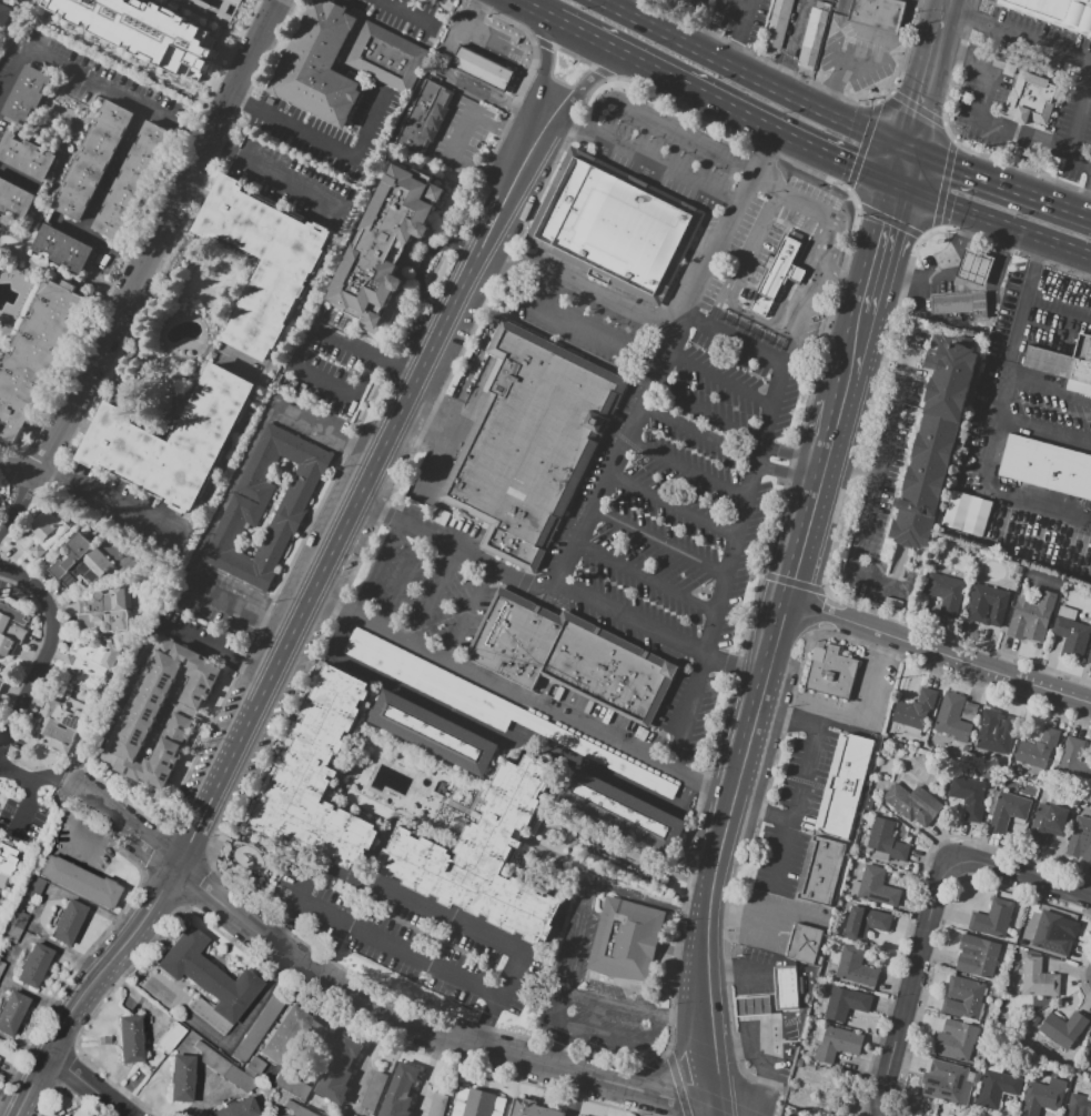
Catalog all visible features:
road: (938, 2)
road: (946, 2)
road: (393, 4)
road: (403, 4)
parking lot: (694, 6)
road: (745, 6)
road: (628, 7)
road: (538, 10)
road: (492, 12)
building: (1053, 13)
building: (3, 14)
building: (876, 16)
road: (415, 17)
building: (780, 23)
road: (737, 28)
road: (842, 29)
building: (143, 30)
road: (1018, 33)
building: (815, 38)
parking lot: (483, 40)
road: (789, 44)
parking lot: (862, 49)
road: (267, 50)
road: (546, 52)
road: (866, 53)
building: (384, 56)
road: (901, 62)
building: (319, 66)
building: (482, 69)
road: (244, 71)
road: (597, 73)
road: (751, 78)
road: (927, 78)
road: (456, 79)
road: (93, 82)
road: (988, 90)
building: (27, 93)
building: (1033, 100)
road: (726, 105)
parking lot: (996, 117)
building: (425, 118)
parking lot: (1073, 122)
road: (673, 125)
road: (1077, 129)
road: (455, 132)
parking lot: (469, 139)
road: (322, 140)
traffic signals: (908, 151)
building: (26, 155)
road: (642, 157)
building: (92, 160)
road: (902, 169)
road: (276, 177)
road: (547, 178)
building: (132, 182)
road: (999, 183)
traffic signals: (898, 187)
road: (795, 197)
building: (14, 200)
road: (1088, 204)
road: (993, 221)
building: (614, 225)
building: (386, 245)
road: (834, 247)
building: (62, 248)
road: (880, 249)
road: (1013, 252)
road: (740, 254)
building: (263, 261)
road: (503, 263)
building: (974, 264)
gas station: (974, 264)
road: (523, 277)
building: (777, 278)
road: (994, 278)
road: (849, 280)
road: (947, 282)
road: (814, 295)
road: (1060, 295)
building: (962, 304)
road: (123, 308)
road: (1018, 324)
road: (1044, 329)
road: (735, 334)
road: (303, 340)
road: (856, 343)
building: (36, 355)
road: (666, 355)
parking lot: (331, 360)
building: (1064, 364)
parking lot: (917, 373)
road: (721, 381)
parking lot: (913, 384)
road: (843, 390)
road: (1048, 390)
parking lot: (680, 411)
parking lot: (305, 421)
road: (1043, 425)
road: (734, 429)
road: (832, 433)
road: (456, 435)
building: (532, 435)
building: (173, 441)
building: (931, 445)
road: (726, 449)
road: (4, 451)
road: (13, 454)
road: (19, 464)
building: (966, 464)
building: (1047, 466)
road: (877, 469)
road: (687, 471)
road: (755, 483)
road: (846, 485)
road: (998, 491)
road: (19, 503)
road: (110, 505)
road: (675, 507)
road: (812, 507)
building: (956, 510)
building: (976, 515)
building: (242, 516)
building: (41, 533)
road: (661, 544)
building: (513, 551)
building: (80, 562)
building: (1018, 569)
road: (385, 571)
building: (1026, 571)
road: (648, 579)
road: (404, 580)
road: (537, 586)
building: (947, 592)
road: (436, 595)
parking lot: (433, 596)
parking lot: (219, 601)
building: (987, 604)
road: (467, 610)
building: (105, 611)
building: (1031, 613)
road: (303, 622)
building: (11, 629)
building: (1070, 633)
parking lot: (198, 635)
road: (43, 650)
road: (939, 652)
road: (219, 653)
building: (569, 656)
building: (1089, 656)
road: (769, 658)
building: (92, 663)
road: (737, 663)
building: (830, 673)
building: (432, 680)
parking lot: (432, 680)
building: (1, 682)
road: (525, 694)
road: (870, 704)
road: (689, 707)
building: (916, 708)
building: (969, 711)
building: (140, 716)
building: (60, 722)
building: (950, 727)
building: (433, 732)
building: (996, 732)
road: (498, 740)
building: (1039, 748)
building: (595, 754)
parking lot: (595, 754)
building: (1073, 760)
building: (1037, 771)
building: (1021, 775)
road: (29, 777)
building: (317, 777)
road: (78, 788)
road: (804, 788)
building: (847, 788)
building: (969, 793)
building: (913, 804)
building: (619, 810)
building: (1008, 810)
road: (762, 813)
parking lot: (796, 817)
parking lot: (706, 823)
building: (1048, 824)
building: (1080, 838)
building: (886, 842)
road: (75, 849)
building: (7, 856)
building: (482, 857)
building: (824, 874)
road: (1021, 877)
building: (78, 881)
road: (597, 885)
building: (34, 886)
building: (875, 886)
road: (425, 906)
road: (738, 915)
building: (992, 918)
parking lot: (772, 919)
building: (67, 922)
building: (865, 922)
road: (348, 923)
building: (16, 925)
building: (1051, 934)
road: (708, 935)
parking lot: (408, 941)
building: (622, 941)
building: (805, 944)
road: (400, 947)
building: (977, 956)
building: (2, 962)
building: (33, 965)
building: (855, 966)
building: (1037, 978)
building: (208, 979)
building: (785, 988)
road: (910, 989)
parking lot: (593, 997)
road: (599, 997)
road: (385, 998)
building: (963, 998)
building: (845, 1003)
building: (750, 1007)
gas station: (750, 1007)
building: (11, 1011)
road: (751, 1011)
building: (257, 1028)
building: (1062, 1030)
building: (292, 1035)
building: (172, 1036)
building: (130, 1037)
building: (104, 1039)
building: (956, 1040)
building: (836, 1043)
road: (370, 1046)
road: (671, 1062)
building: (224, 1066)
building: (340, 1070)
building: (181, 1077)
building: (947, 1082)
road: (93, 1086)
building: (292, 1086)
building: (997, 1086)
building: (373, 1089)
building: (400, 1092)
building: (1042, 1096)
power tower: (827, 1102)
building: (477, 1103)
building: (437, 1105)
building: (1079, 1105)
building: (236, 1108)
building: (533, 1108)
building: (297, 1109)
road: (721, 1113)

